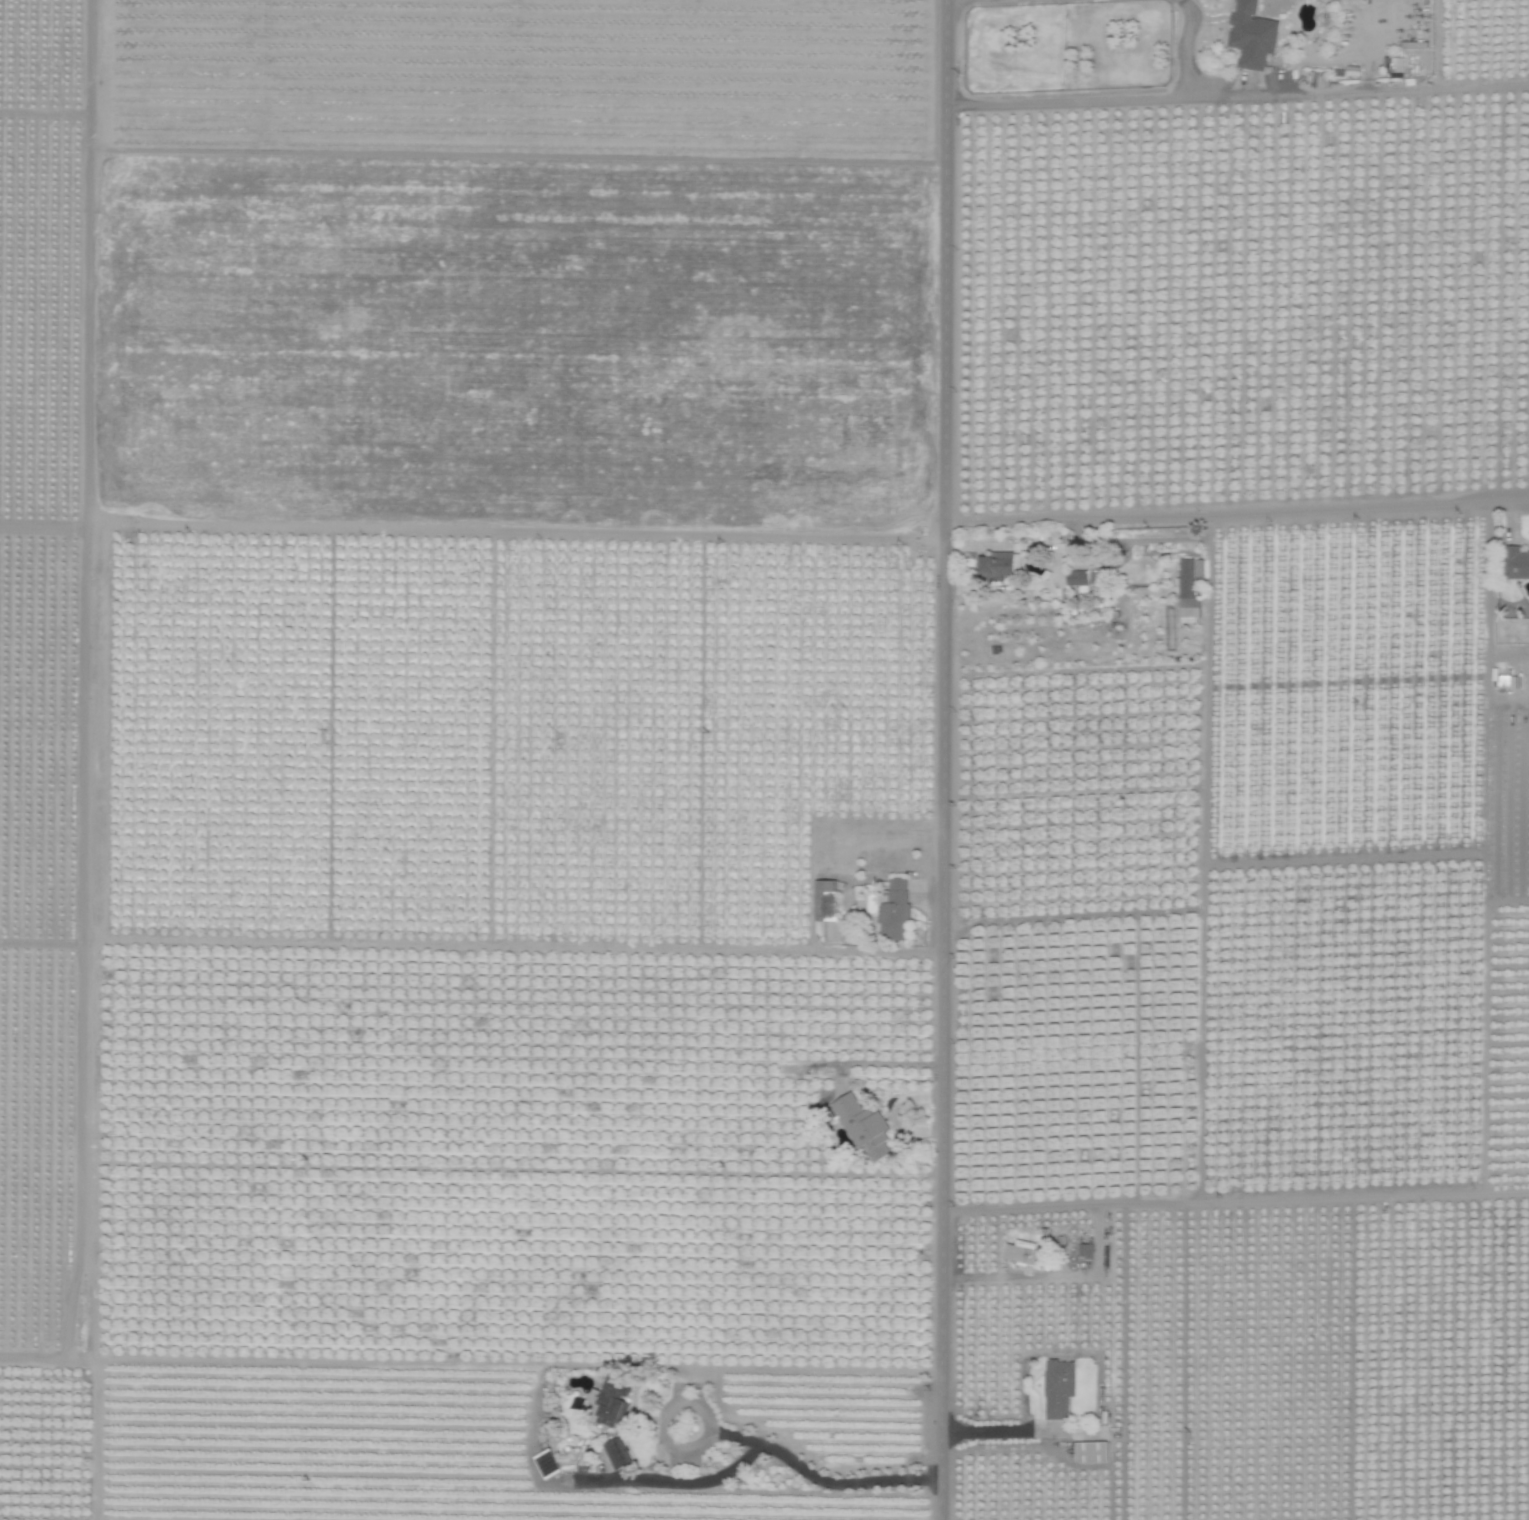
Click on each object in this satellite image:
building: (1250, 35)
road: (1119, 100)
road: (1238, 512)
building: (1018, 562)
building: (1514, 563)
building: (994, 566)
building: (1080, 577)
building: (1189, 590)
road: (945, 759)
crop: (764, 760)
building: (824, 901)
building: (893, 910)
building: (861, 1125)
road: (1235, 1201)
building: (1084, 1251)
building: (1023, 1254)
building: (1058, 1387)
building: (608, 1402)
building: (1090, 1451)
building: (616, 1452)
road: (809, 1474)

